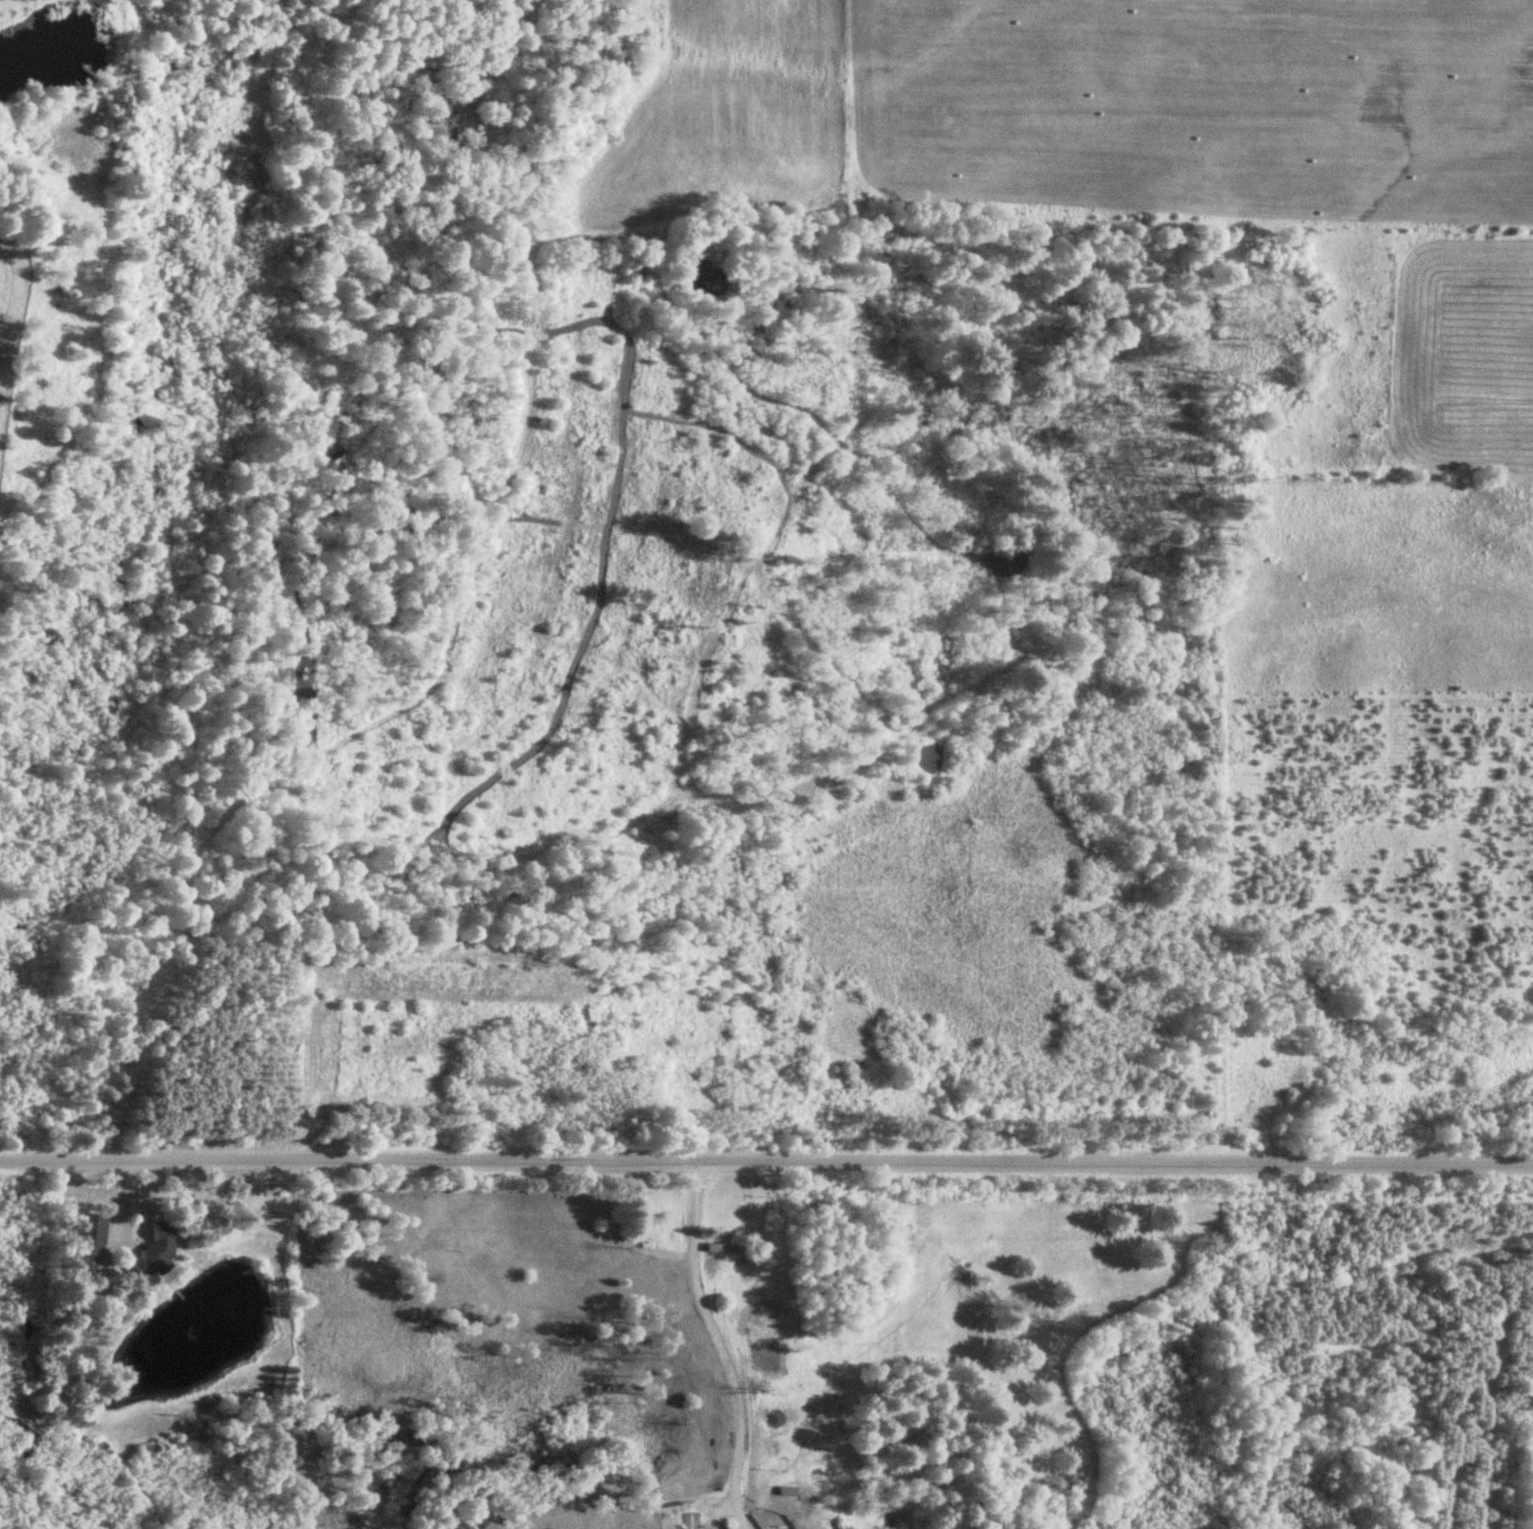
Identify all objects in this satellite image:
building: (1326, 300)
road: (766, 1159)
building: (90, 1240)
building: (725, 1248)
building: (154, 1252)
road: (715, 1335)

